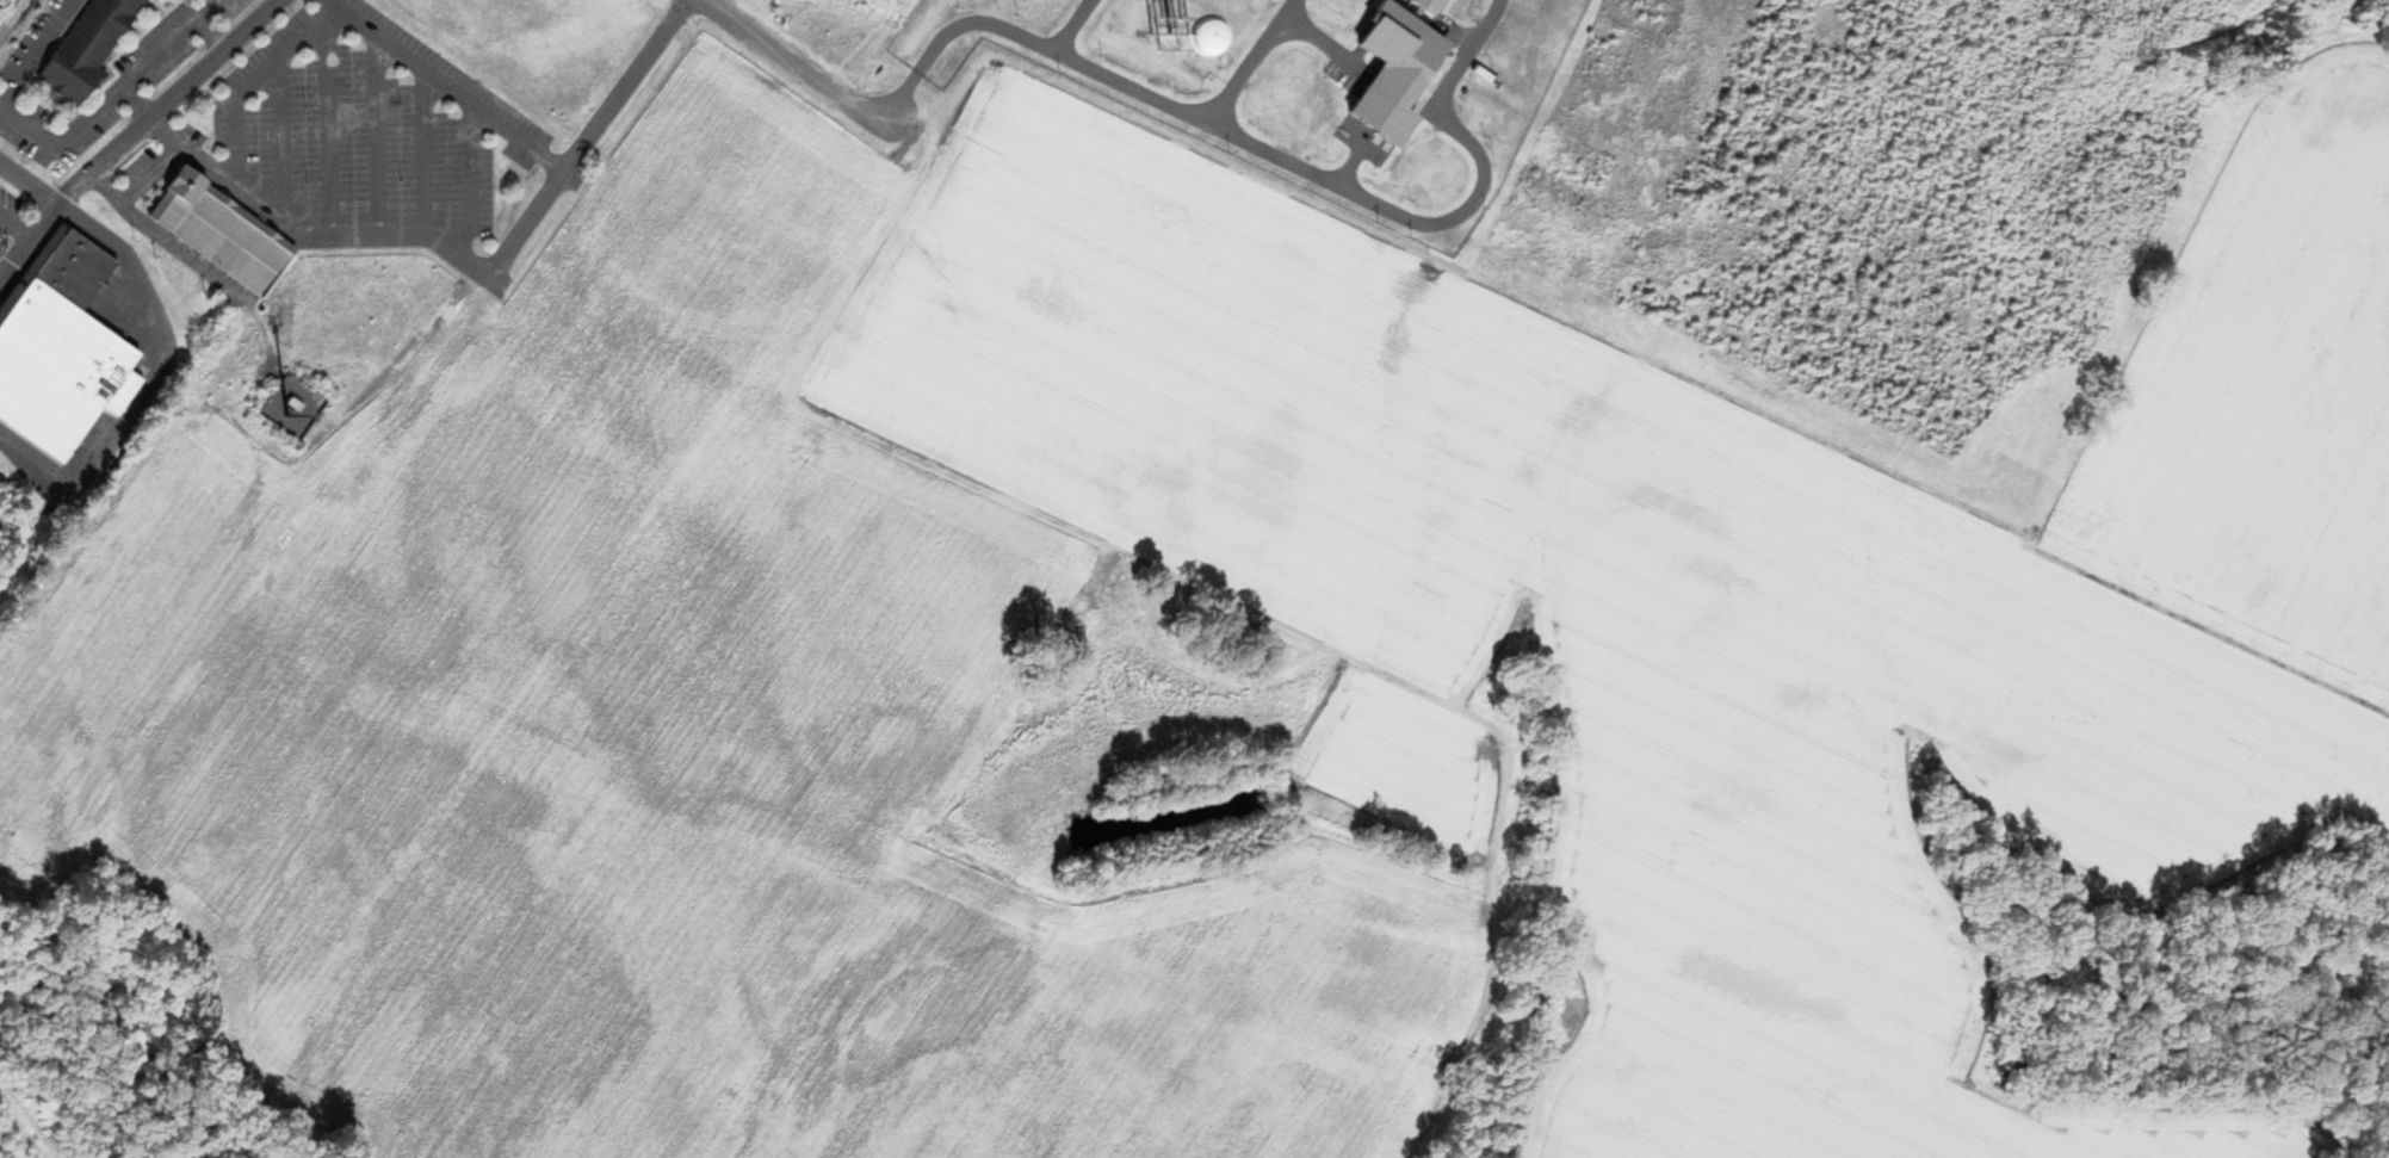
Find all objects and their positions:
road: (12, 17)
road: (1025, 42)
road: (37, 49)
building: (92, 49)
road: (787, 61)
road: (1246, 63)
road: (253, 82)
road: (445, 86)
road: (112, 92)
road: (168, 104)
road: (329, 130)
road: (376, 136)
road: (587, 140)
road: (279, 143)
road: (422, 155)
road: (155, 177)
road: (468, 180)
road: (27, 188)
road: (1448, 221)
road: (285, 227)
road: (16, 231)
building: (223, 234)
road: (162, 243)
road: (27, 247)
road: (2, 277)
building: (60, 349)
building: (291, 409)
park: (57, 1097)

